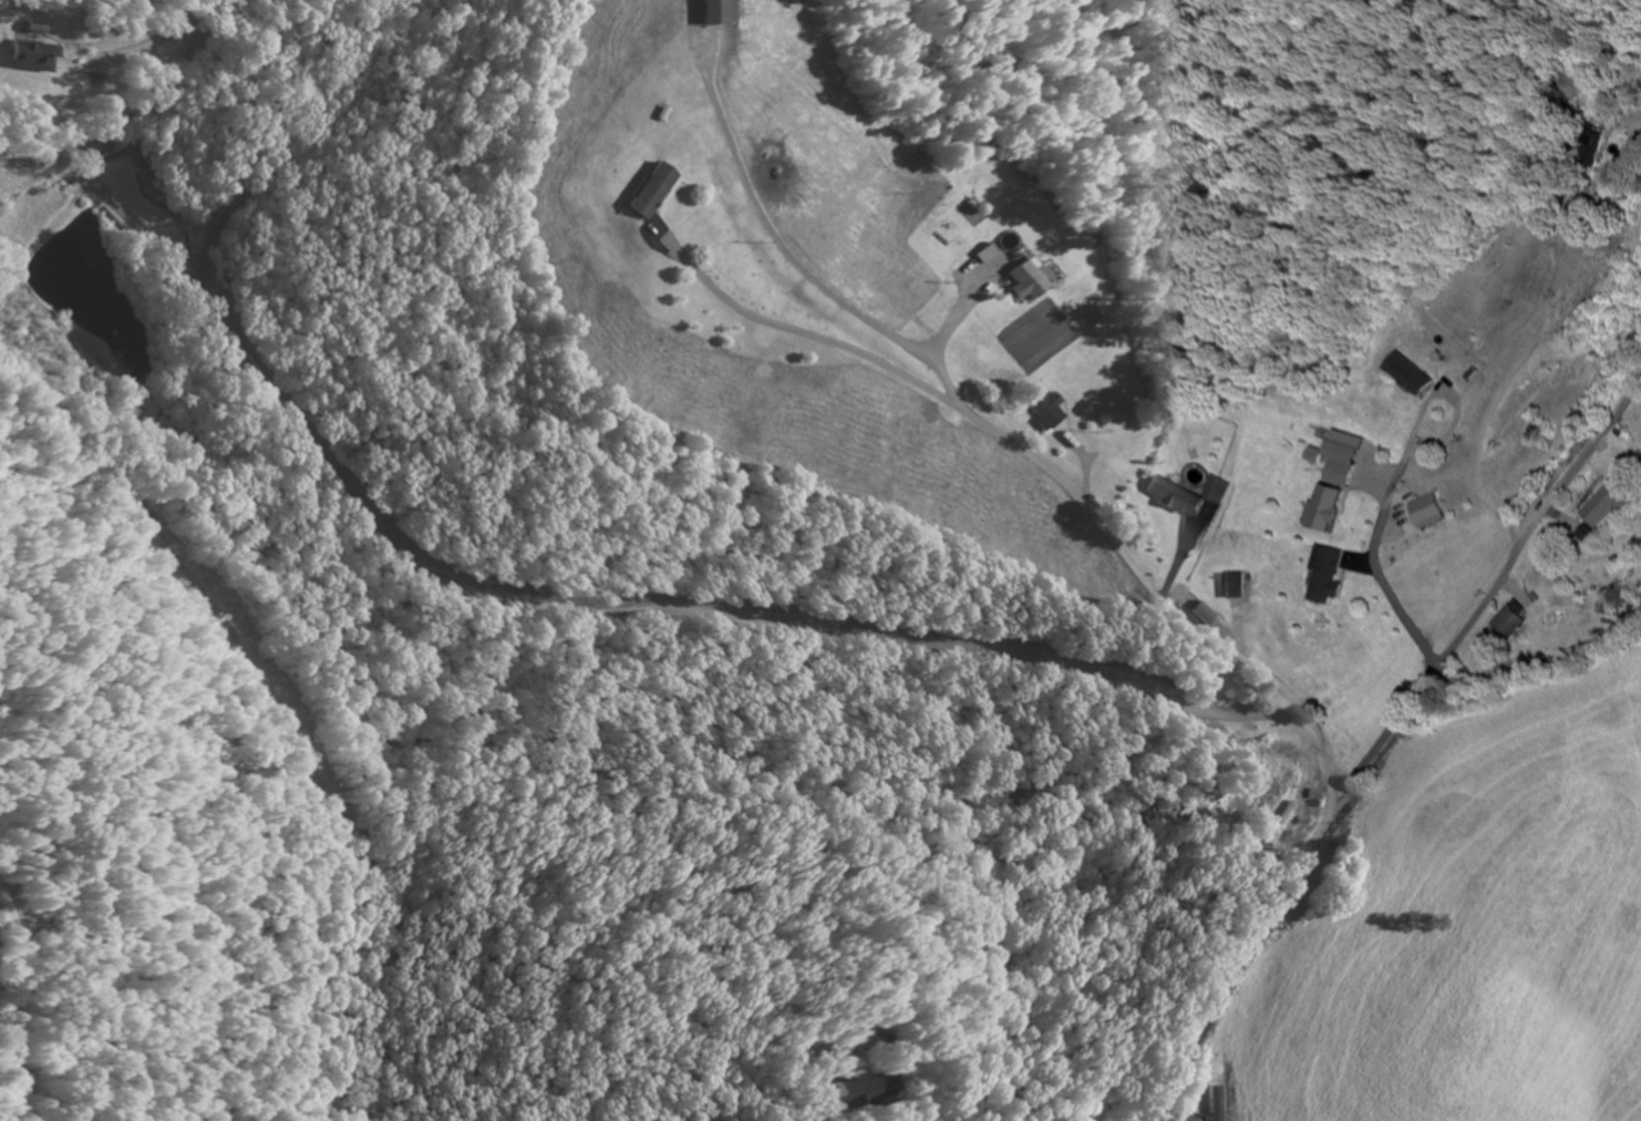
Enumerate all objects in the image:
building: (34, 60)
road: (1640, 116)
building: (1018, 282)
building: (1407, 376)
road: (451, 407)
building: (1046, 416)
building: (1344, 444)
road: (1065, 486)
building: (1215, 491)
building: (1607, 508)
building: (1323, 510)
building: (1428, 513)
road: (1381, 574)
building: (1329, 577)
building: (1232, 587)
road: (566, 611)
building: (1513, 624)
road: (1383, 745)
building: (847, 1091)

